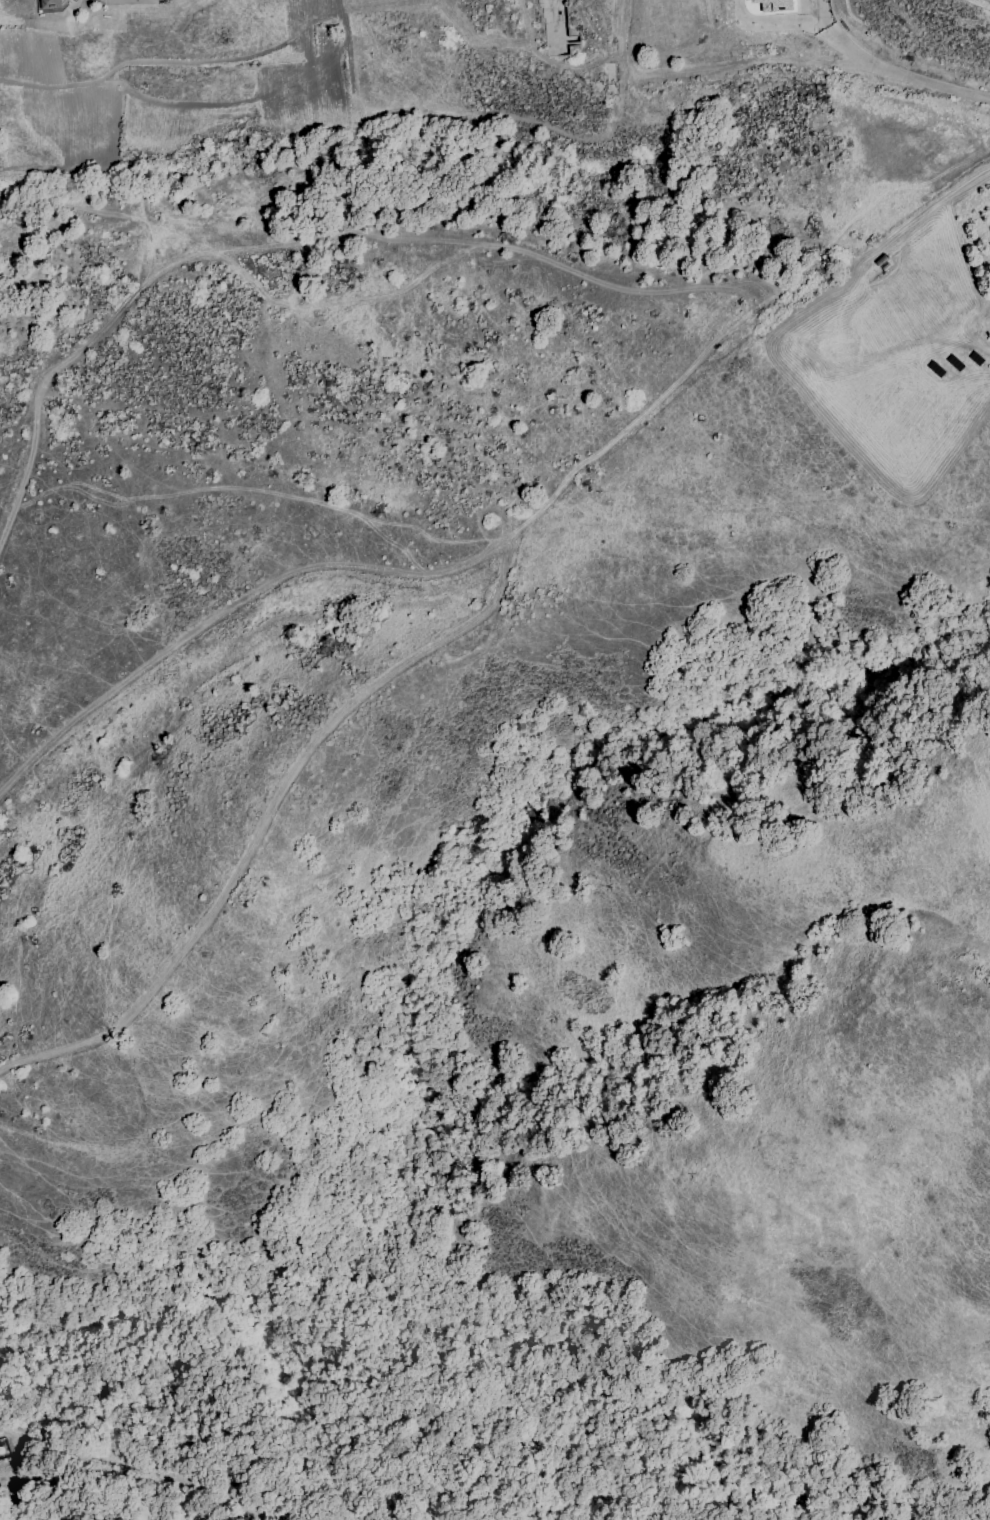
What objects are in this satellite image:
building: (50, 5)
building: (774, 5)
road: (622, 23)
road: (887, 71)
road: (13, 1504)

